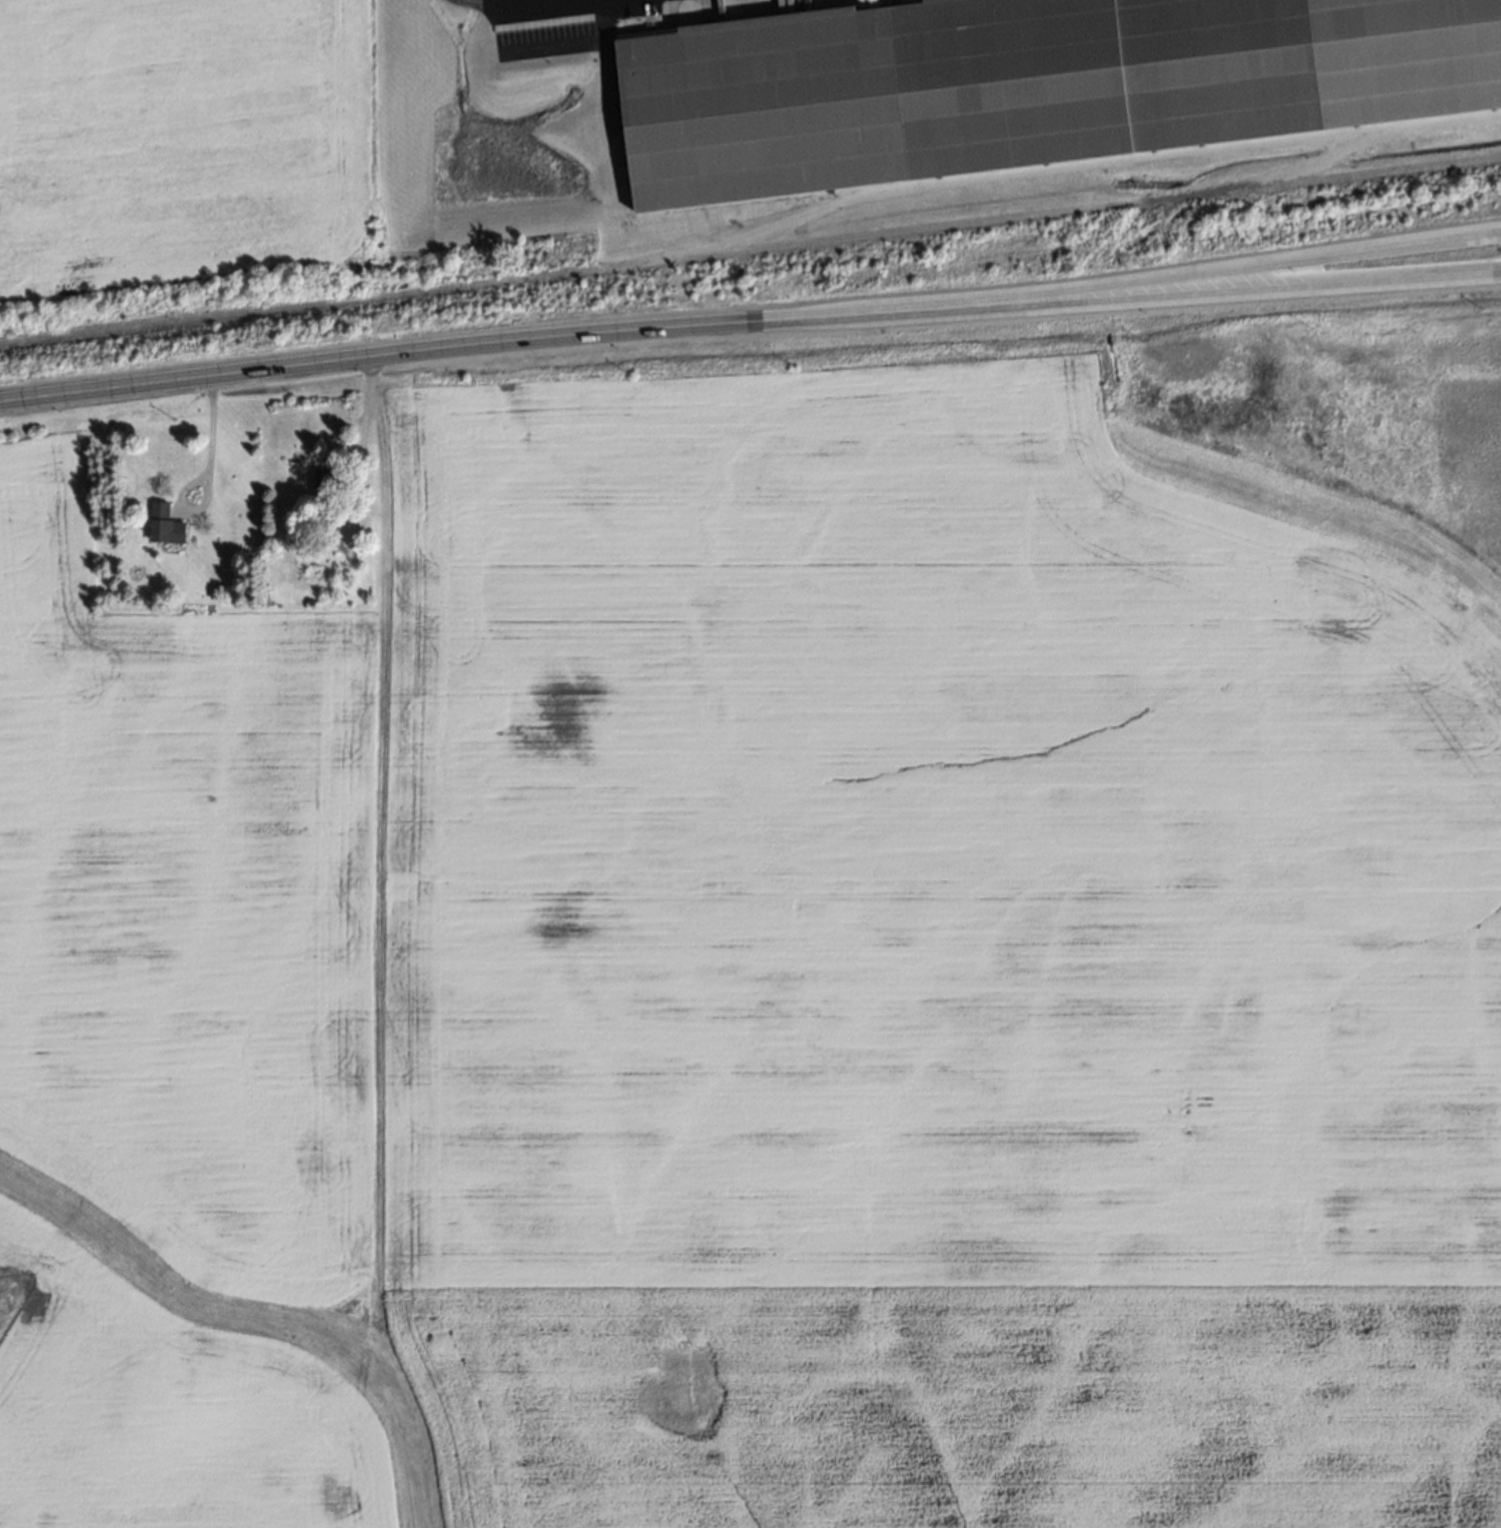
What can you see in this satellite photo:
building: (1027, 85)
road: (1317, 257)
road: (1318, 280)
road: (566, 334)
road: (363, 422)
road: (210, 439)
building: (324, 479)
building: (166, 524)

